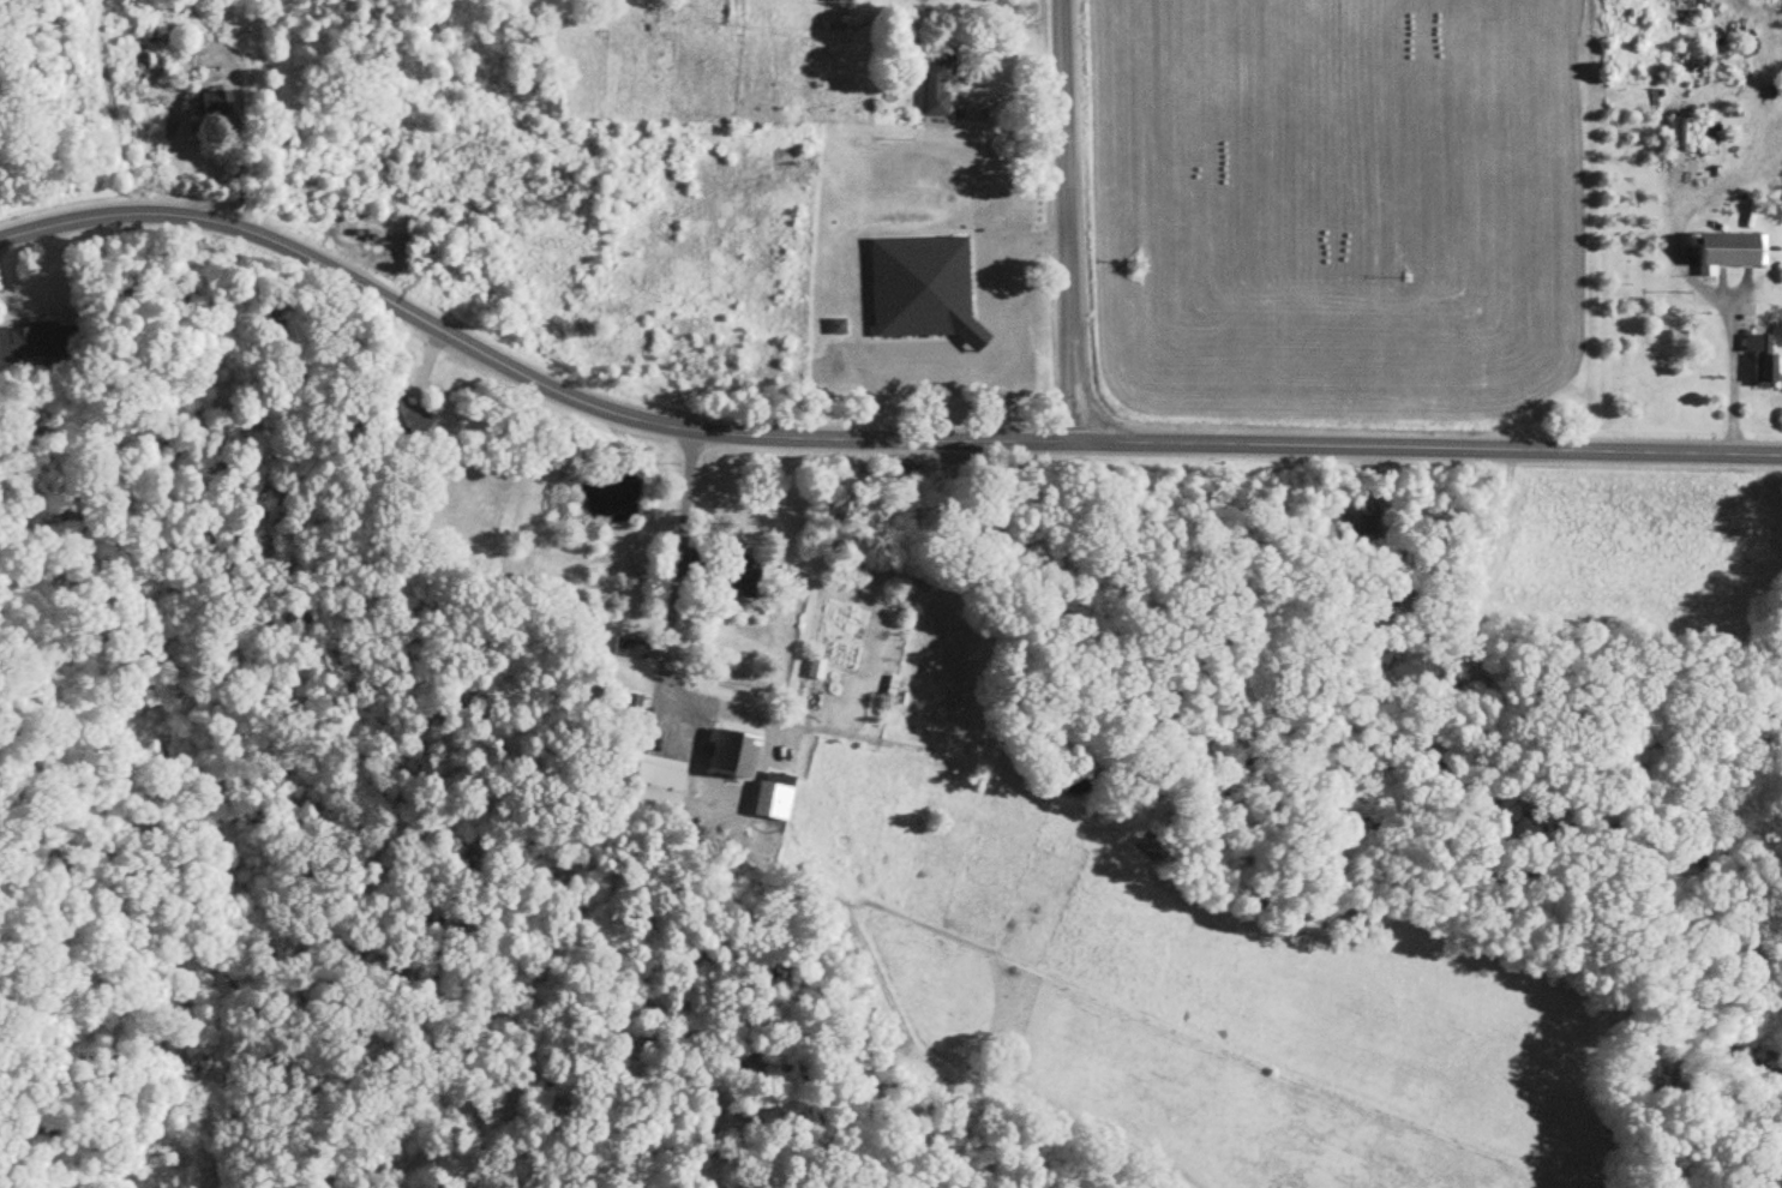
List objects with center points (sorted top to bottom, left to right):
building: (940, 78)
building: (214, 104)
building: (1682, 136)
road: (1068, 217)
building: (1732, 251)
building: (923, 290)
building: (36, 342)
building: (1765, 362)
road: (1003, 365)
road: (1732, 378)
building: (401, 416)
road: (865, 439)
road: (678, 564)
building: (732, 575)
building: (815, 671)
road: (698, 738)
road: (636, 739)
building: (730, 756)
building: (655, 786)
building: (772, 803)
road: (1105, 838)
road: (493, 946)
road: (1109, 1002)

